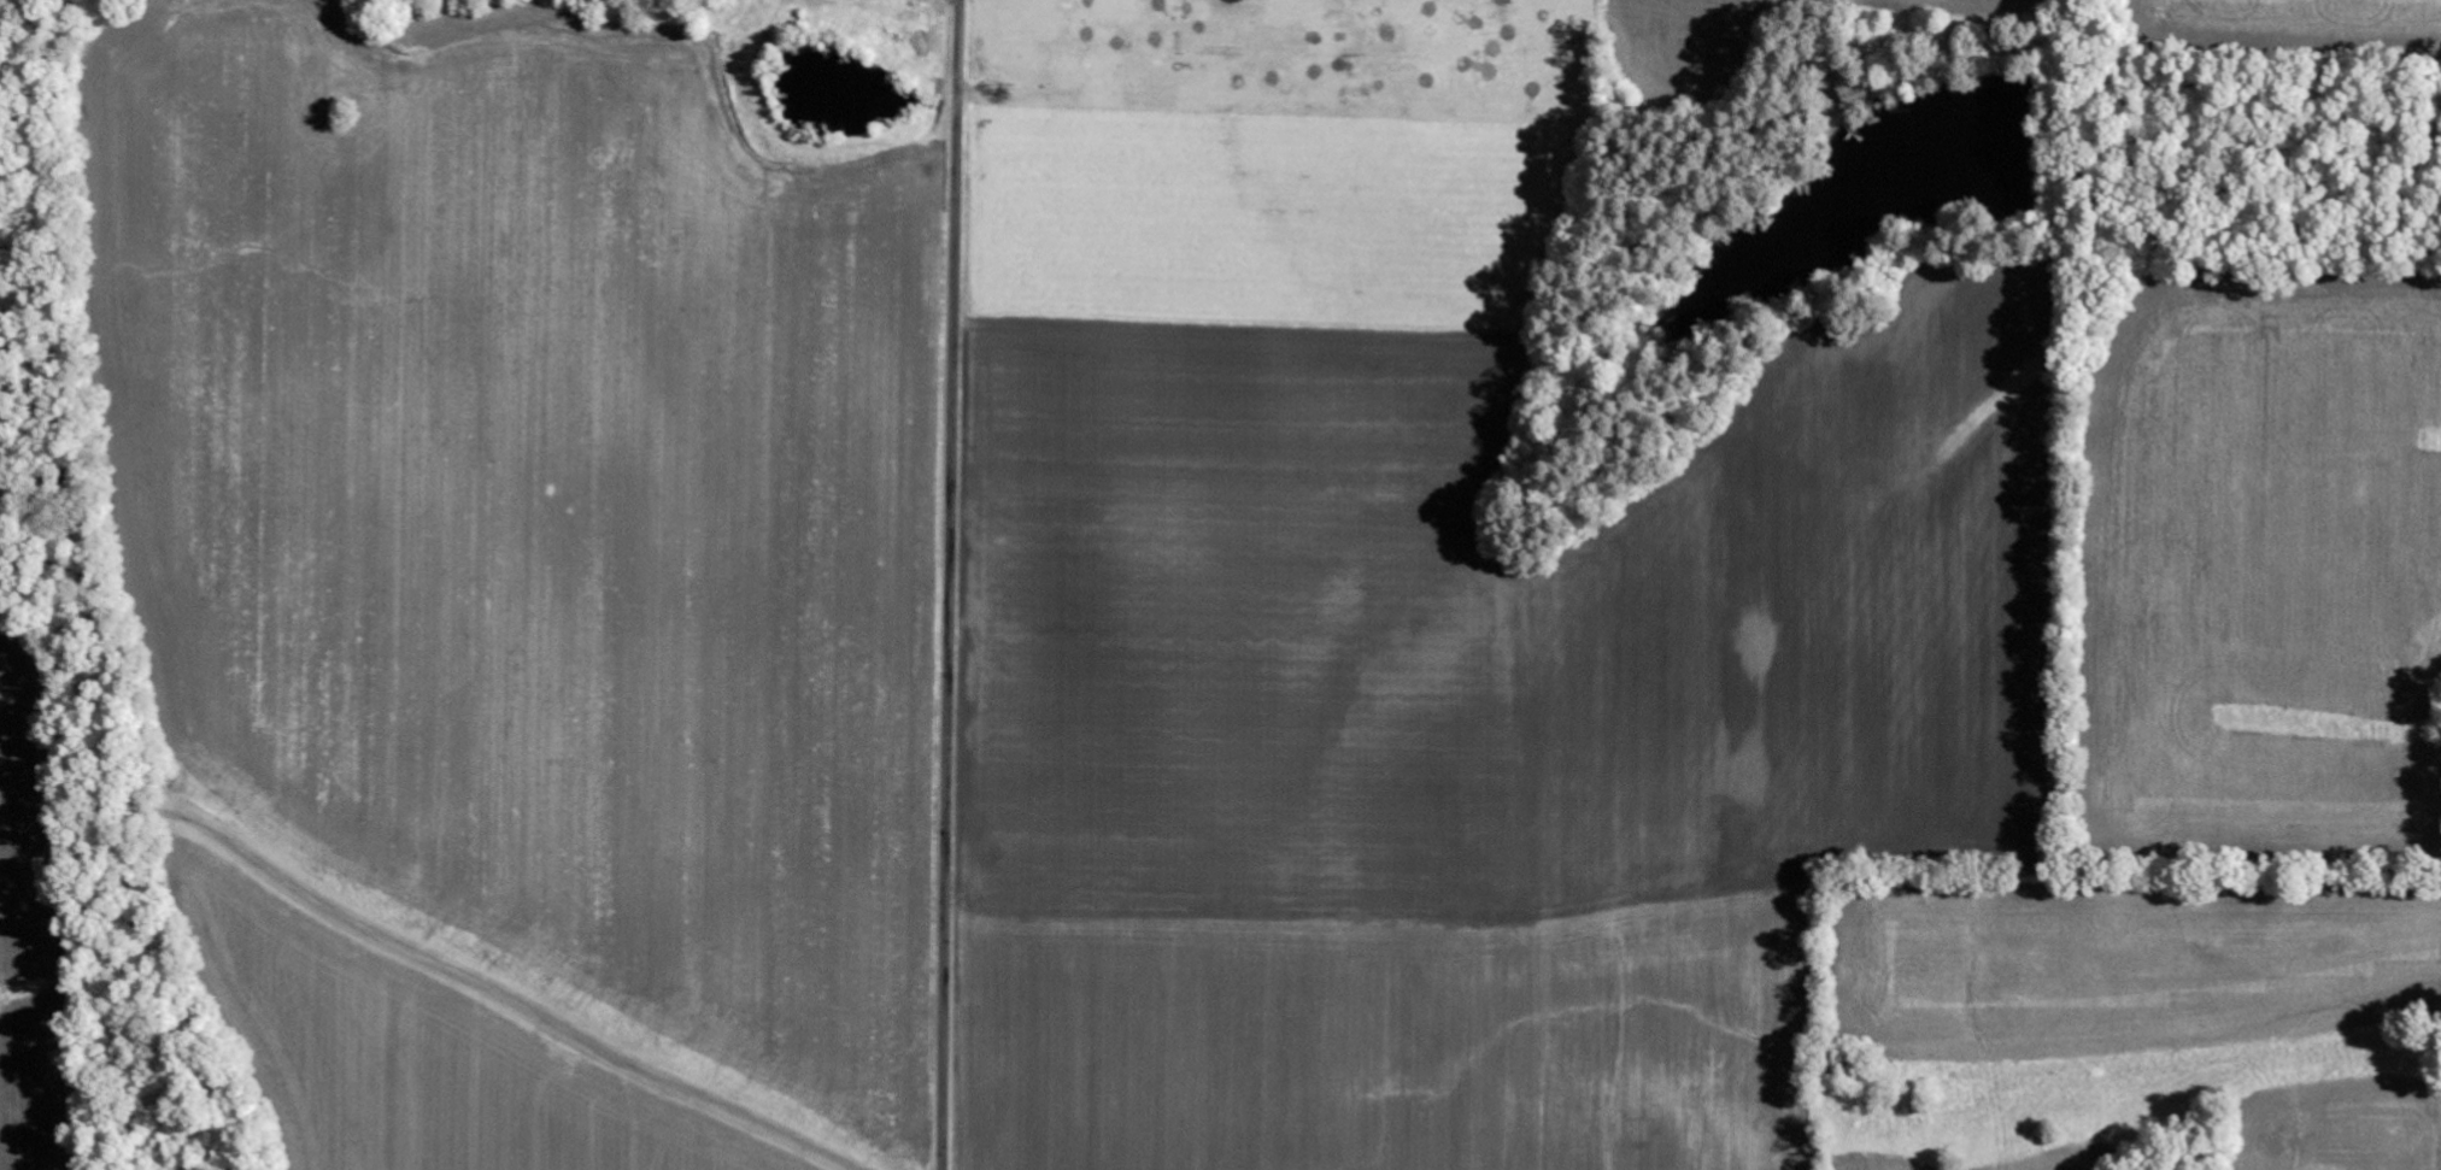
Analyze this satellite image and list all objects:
building: (1853, 89)
road: (949, 584)

